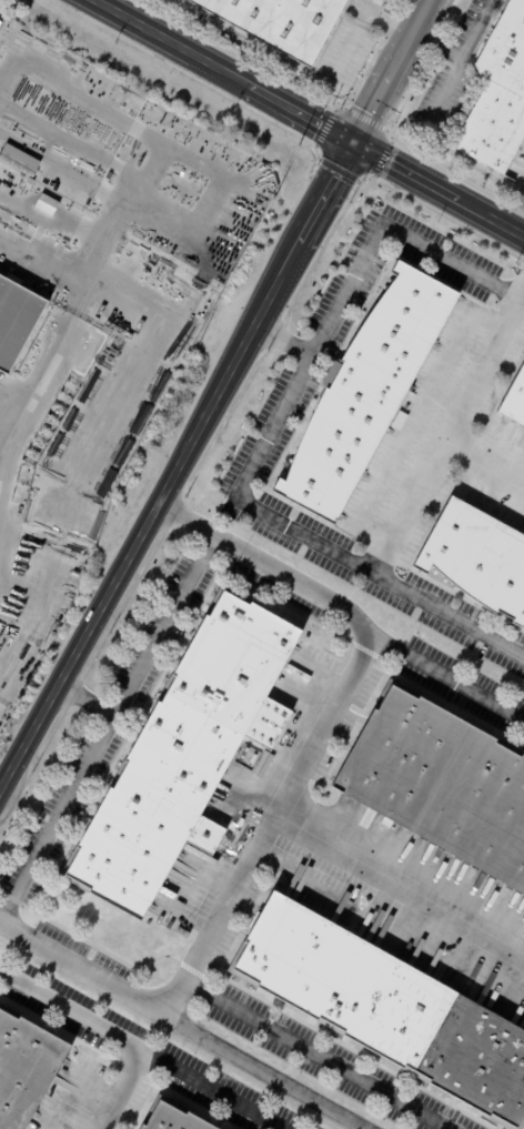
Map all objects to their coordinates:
building: (282, 23)
road: (138, 27)
road: (411, 37)
road: (437, 43)
road: (457, 64)
building: (501, 97)
road: (271, 99)
road: (372, 109)
traffic signals: (354, 144)
building: (143, 158)
building: (18, 163)
road: (439, 190)
road: (326, 193)
building: (48, 203)
road: (515, 211)
building: (16, 321)
road: (282, 339)
building: (366, 392)
road: (446, 399)
building: (515, 400)
road: (465, 403)
road: (411, 421)
road: (266, 434)
road: (410, 504)
road: (149, 513)
building: (476, 560)
road: (449, 681)
road: (85, 699)
road: (108, 729)
building: (182, 759)
building: (441, 785)
road: (284, 799)
road: (403, 874)
building: (386, 1008)
road: (108, 1032)
road: (318, 1055)
building: (24, 1069)
road: (266, 1072)
road: (209, 1089)
building: (172, 1118)

